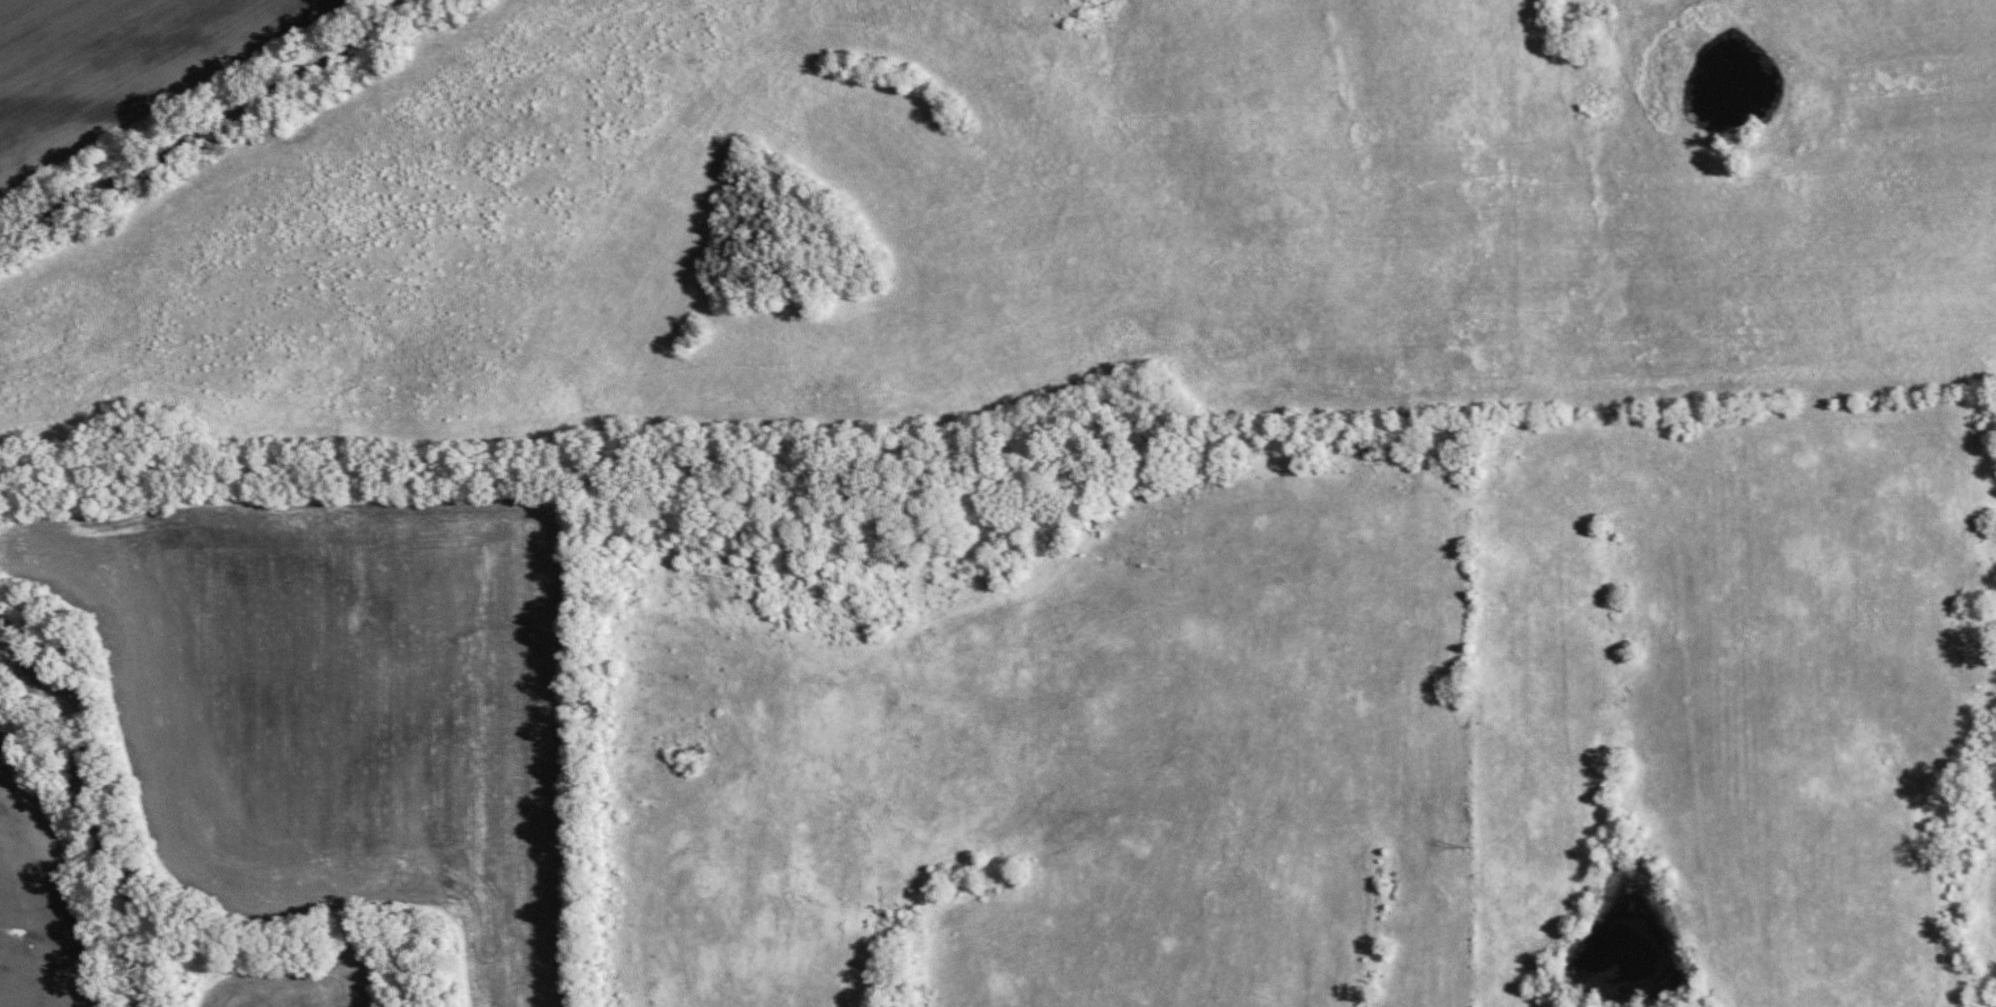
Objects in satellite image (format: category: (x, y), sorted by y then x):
crop: (112, 64)

